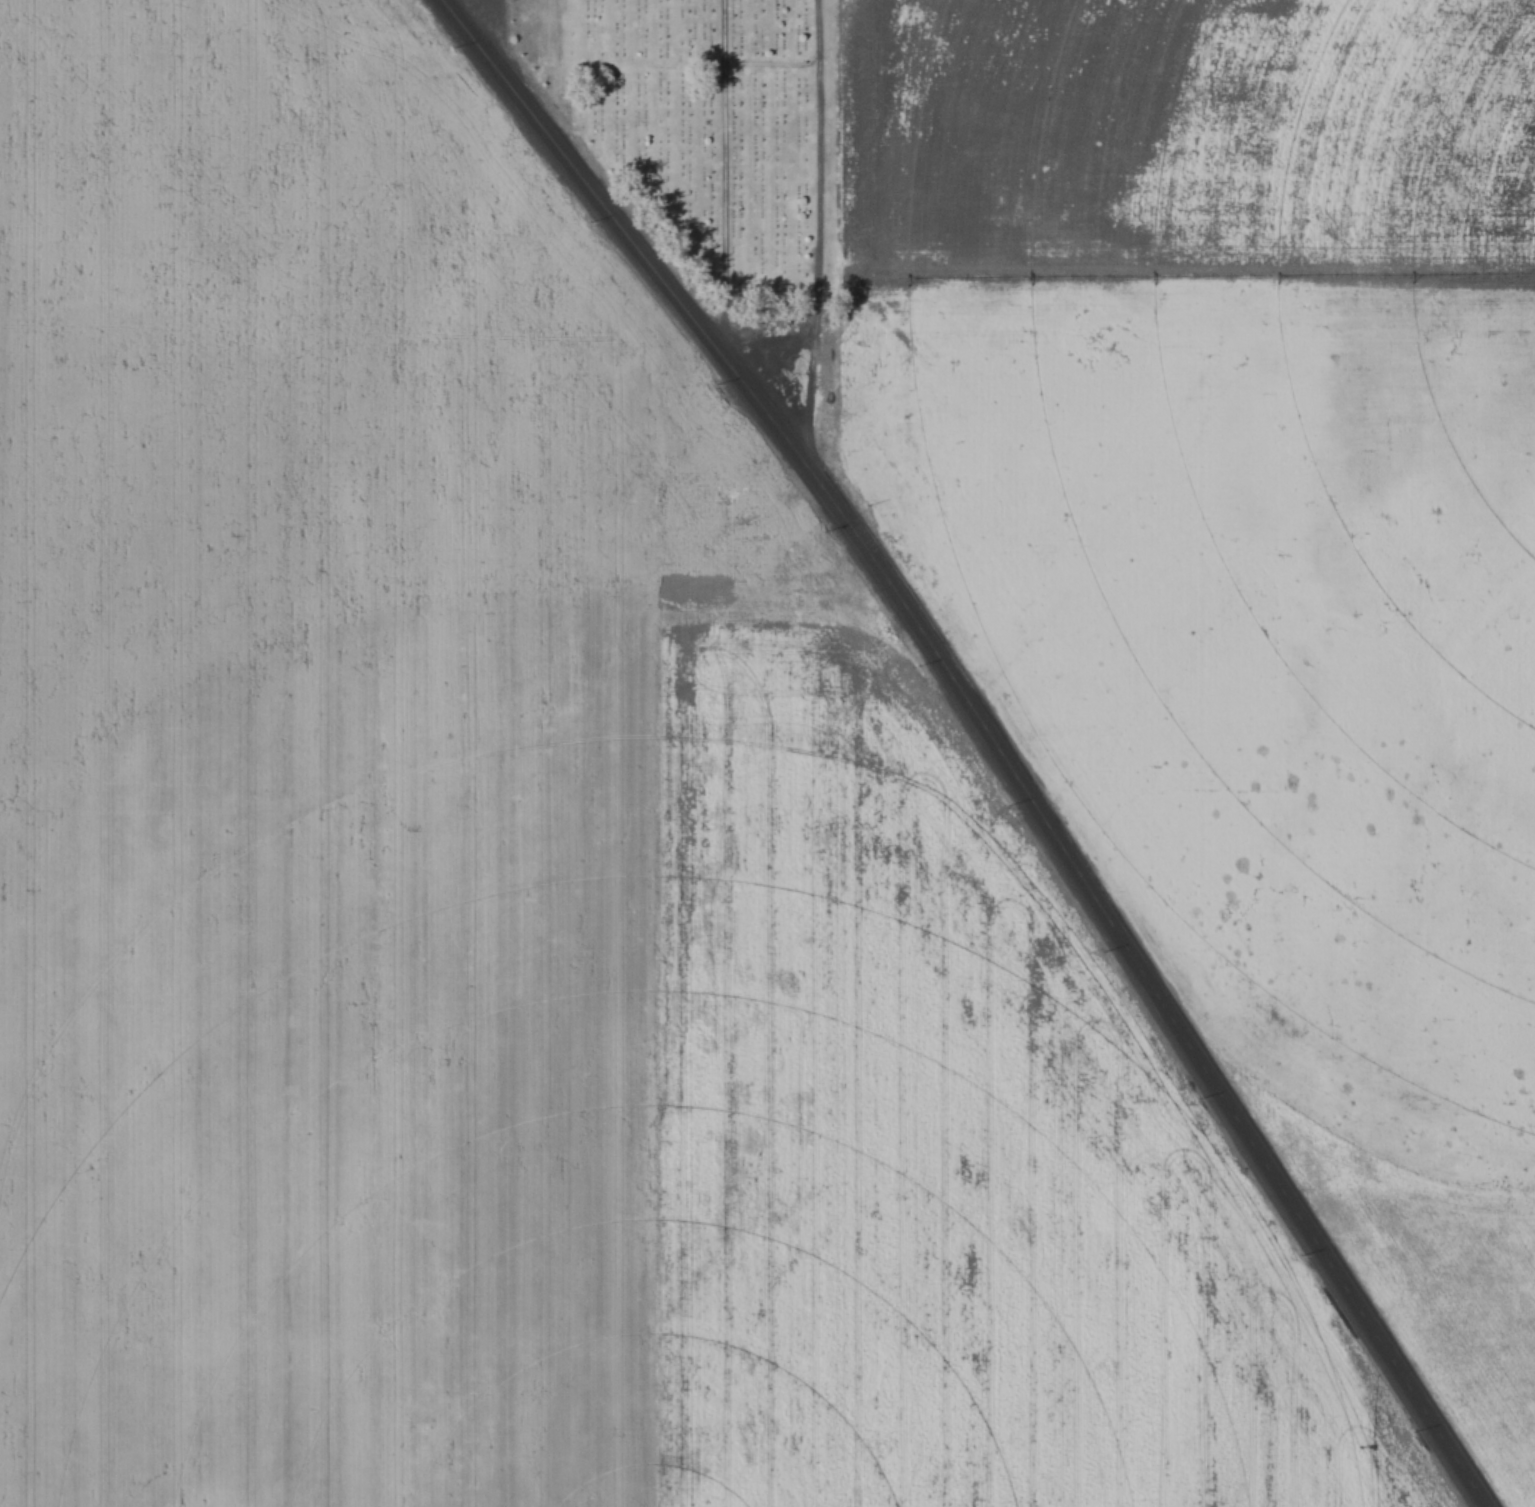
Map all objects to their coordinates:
park: (708, 134)
road: (856, 267)
road: (990, 737)

